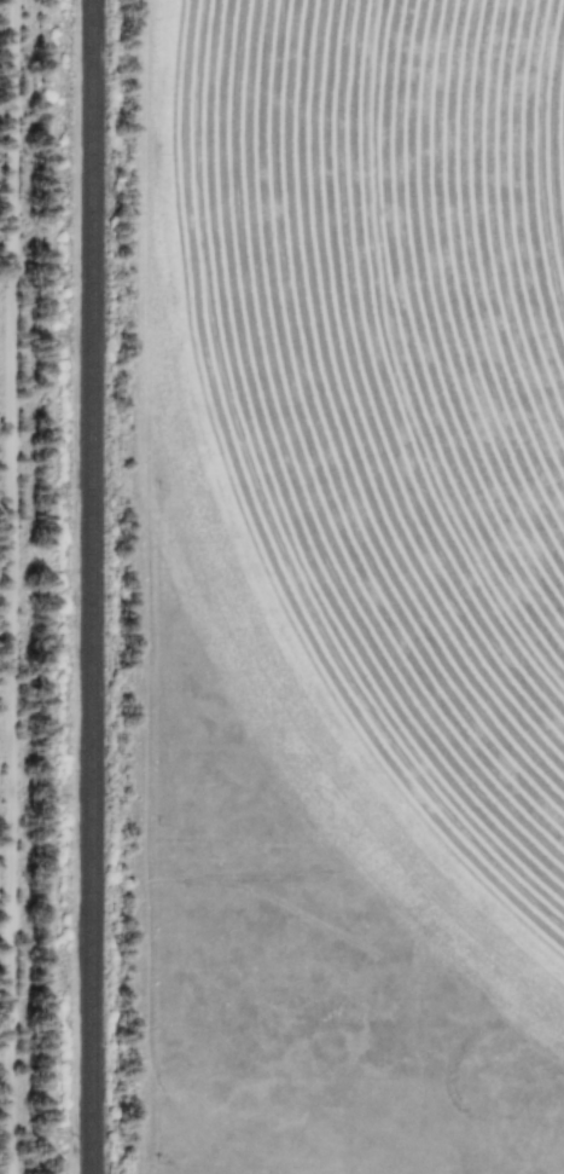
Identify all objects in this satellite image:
crop: (372, 399)
road: (10, 586)
railway: (86, 586)

